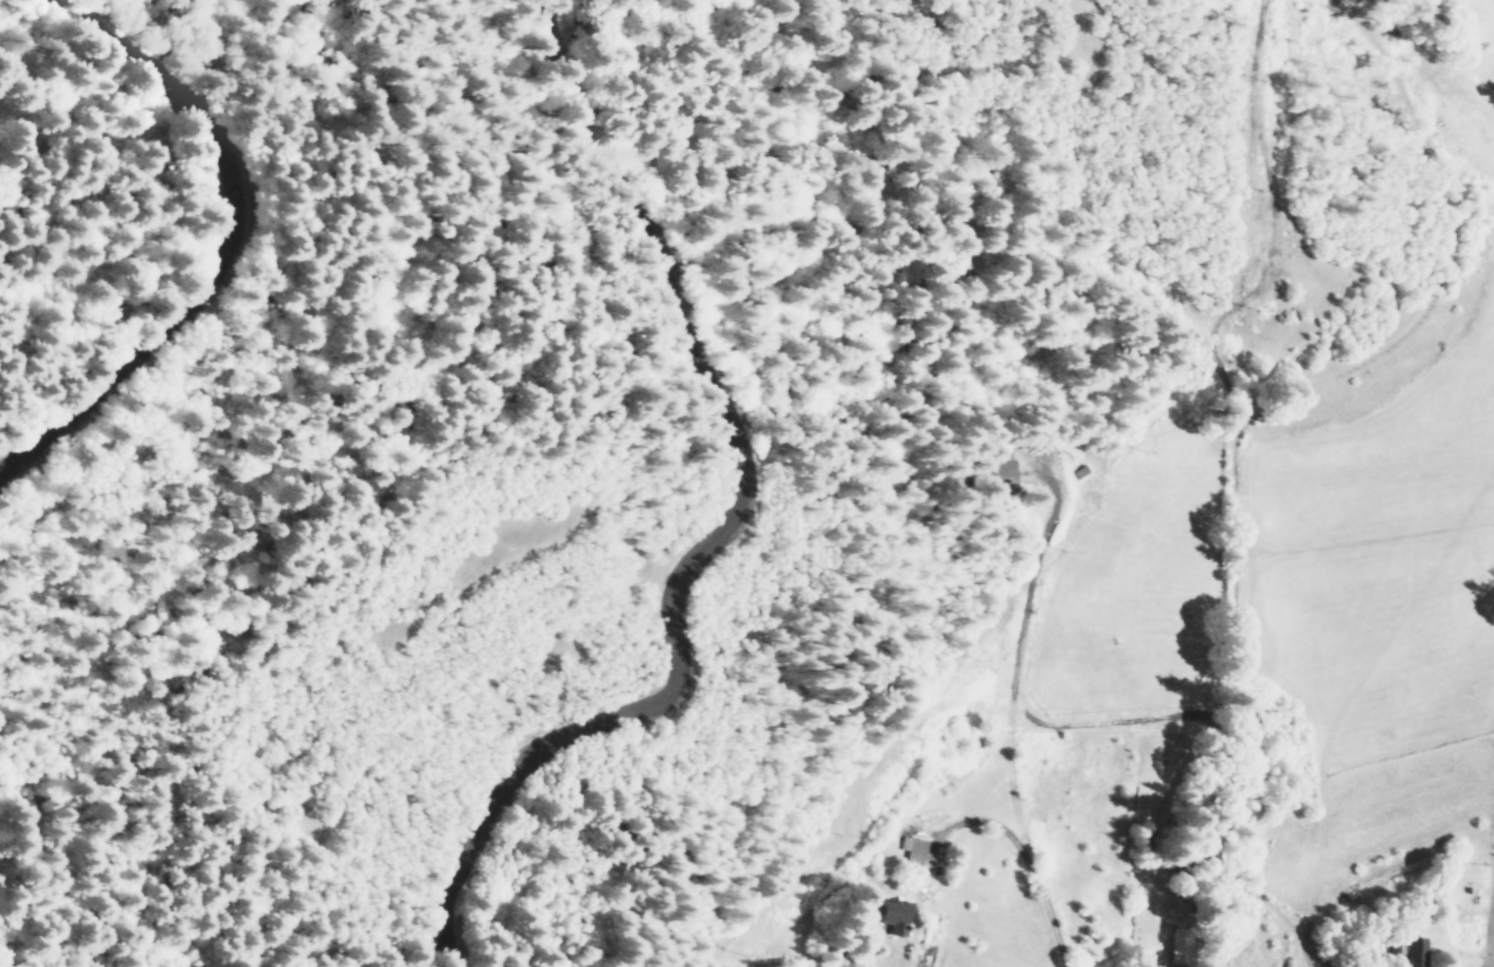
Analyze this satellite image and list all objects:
road: (223, 241)
building: (990, 472)
road: (738, 516)
building: (911, 848)
building: (892, 915)
building: (1179, 946)
building: (1414, 951)

